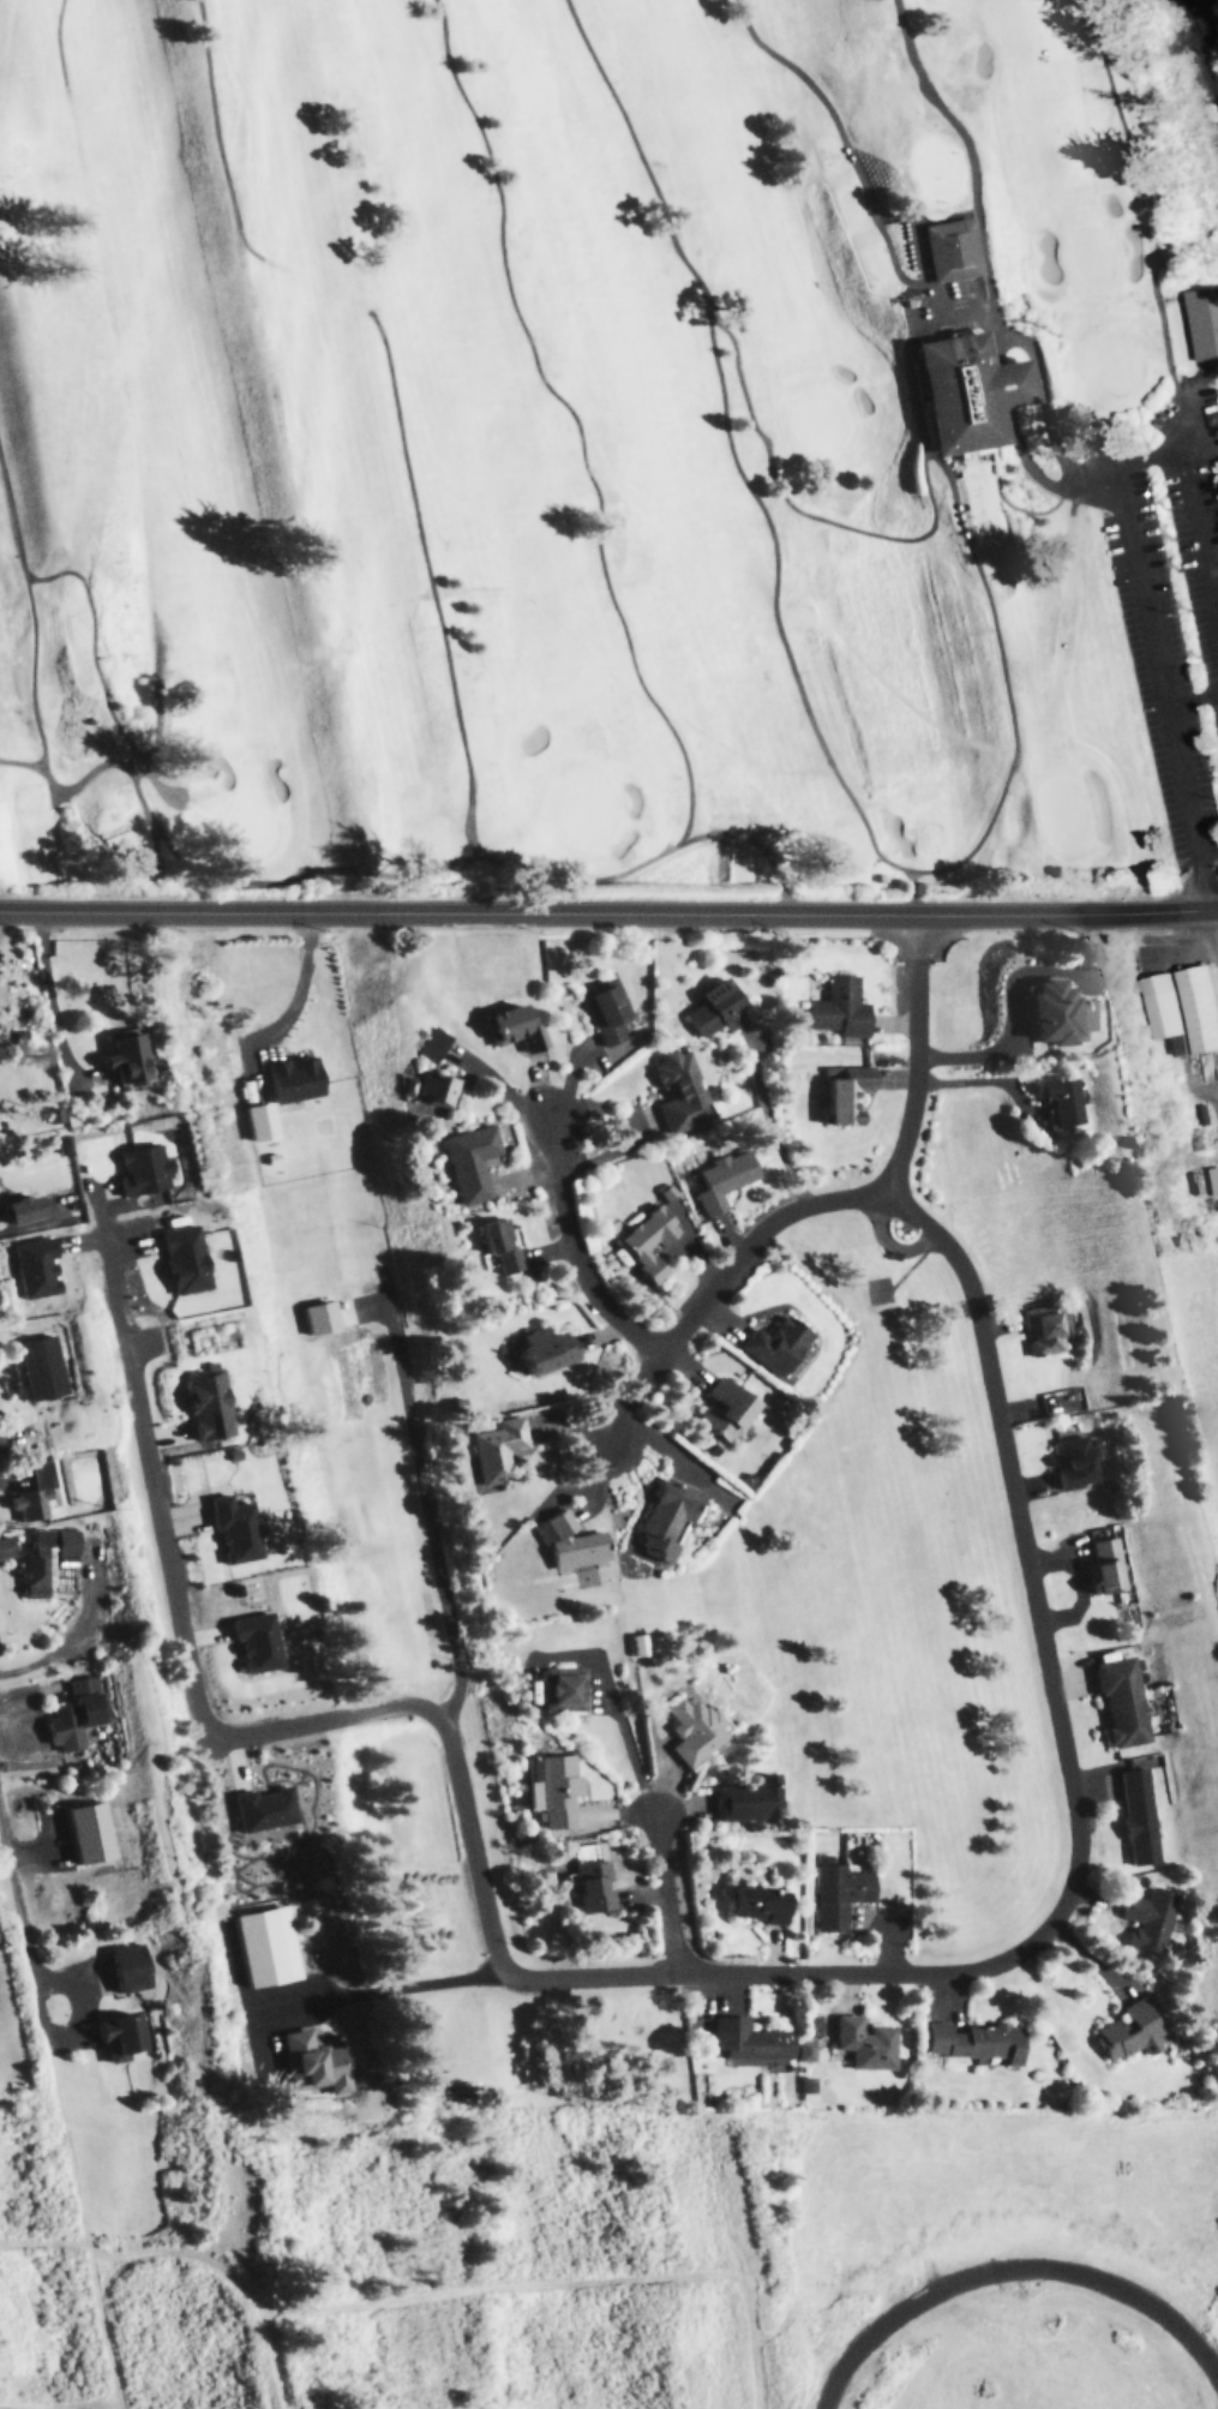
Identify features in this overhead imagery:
building: (947, 253)
building: (1195, 334)
building: (959, 395)
park: (574, 442)
road: (1159, 449)
road: (1201, 525)
road: (1166, 684)
road: (1210, 847)
road: (608, 912)
building: (1182, 1009)
building: (710, 1011)
building: (840, 1012)
building: (1046, 1013)
building: (604, 1015)
building: (509, 1029)
building: (428, 1045)
building: (121, 1059)
road: (920, 1059)
building: (430, 1091)
building: (678, 1092)
building: (844, 1095)
building: (1058, 1103)
building: (466, 1163)
building: (721, 1179)
building: (1214, 1180)
building: (646, 1242)
building: (496, 1246)
road: (574, 1252)
road: (722, 1278)
building: (1045, 1331)
building: (774, 1346)
building: (538, 1350)
building: (42, 1367)
building: (722, 1410)
building: (494, 1452)
building: (1076, 1463)
building: (36, 1493)
building: (661, 1520)
building: (568, 1545)
building: (5, 1547)
building: (47, 1559)
building: (1104, 1570)
building: (558, 1691)
building: (1122, 1703)
building: (74, 1720)
building: (688, 1730)
building: (550, 1791)
building: (744, 1800)
building: (1140, 1817)
building: (589, 1887)
road: (666, 1894)
building: (838, 1895)
building: (752, 1907)
building: (1152, 1920)
road: (23, 1935)
building: (127, 1968)
road: (721, 1973)
building: (1133, 2032)
building: (121, 2037)
building: (744, 2041)
building: (973, 2042)
building: (865, 2044)
building: (808, 2050)

